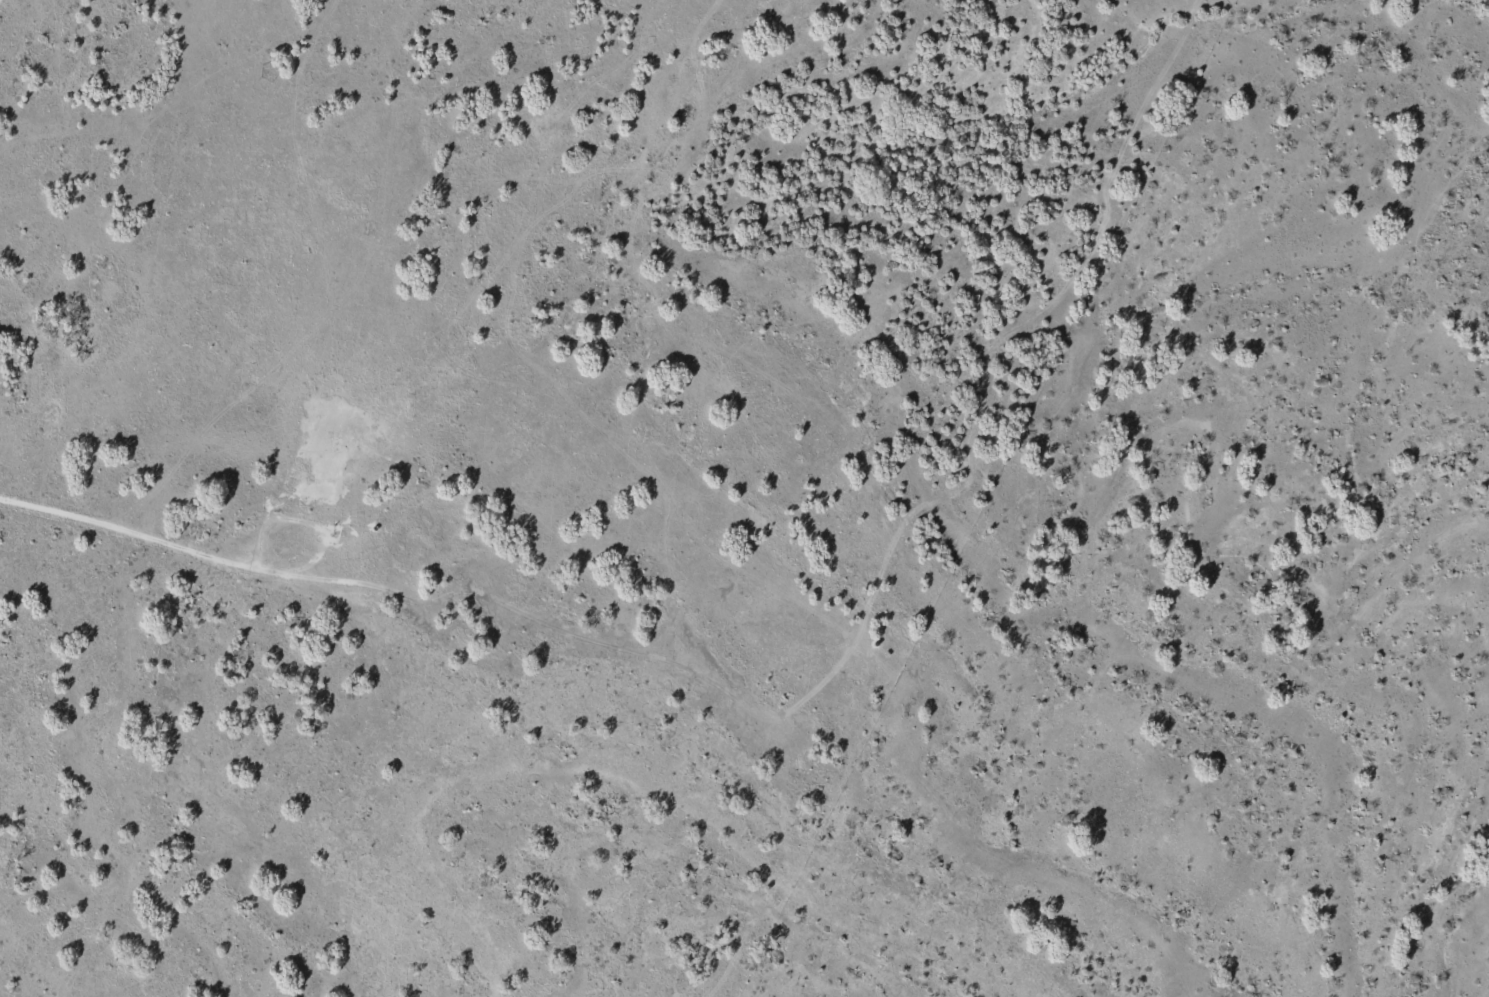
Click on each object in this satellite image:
road: (133, 532)

